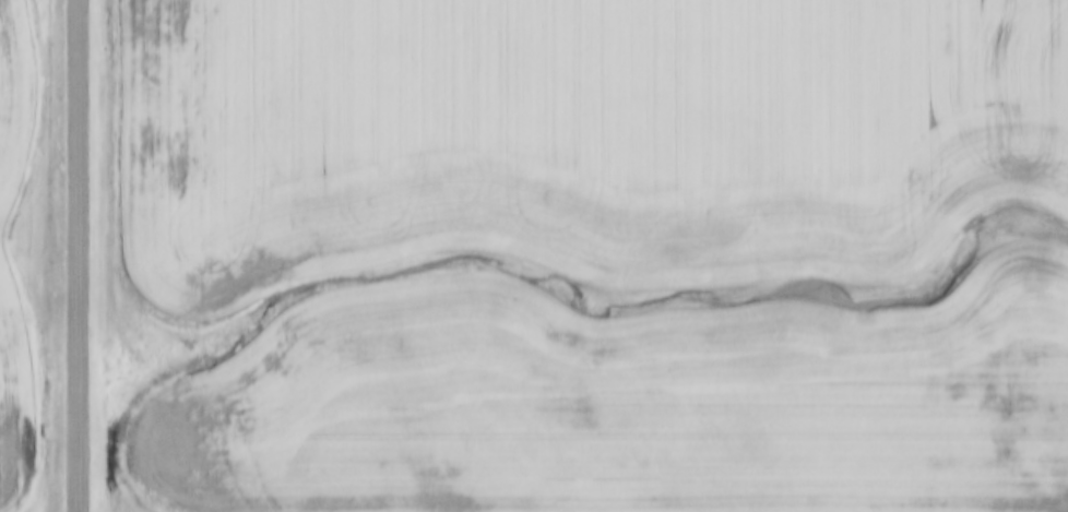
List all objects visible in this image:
road: (75, 255)

